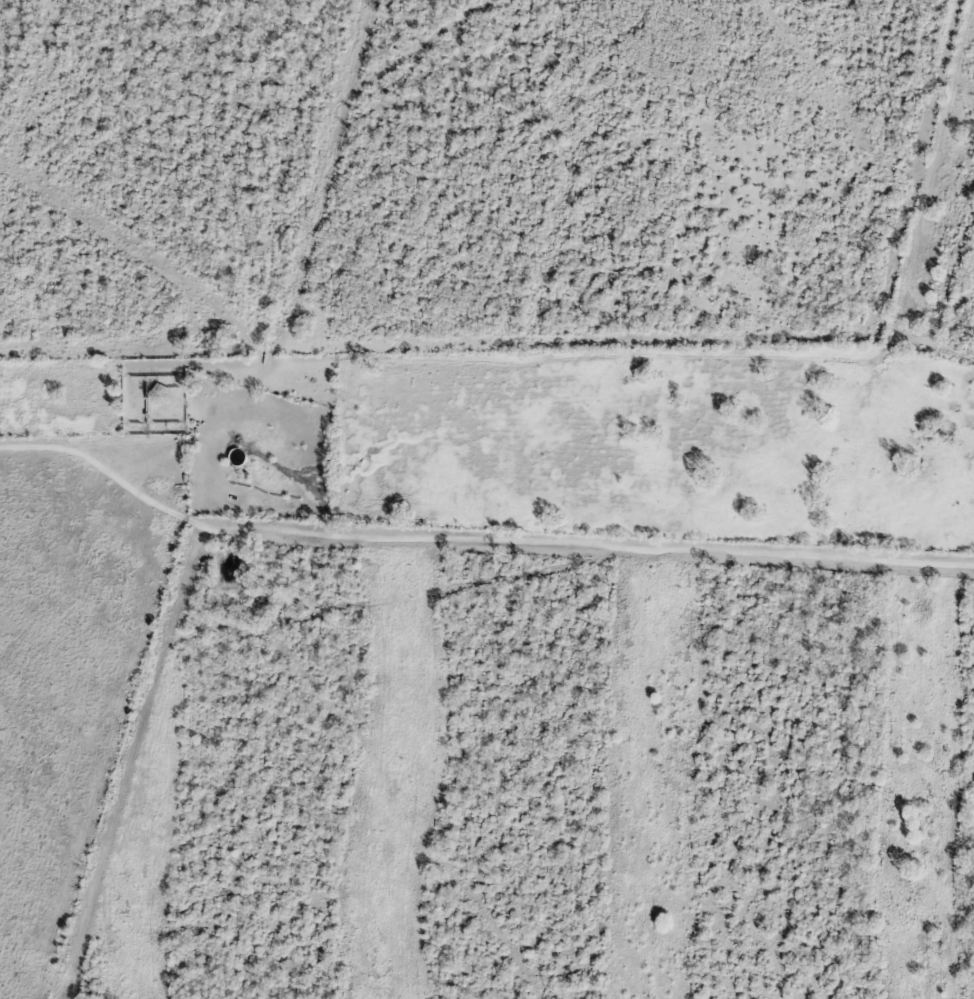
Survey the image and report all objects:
road: (476, 540)
road: (131, 762)

